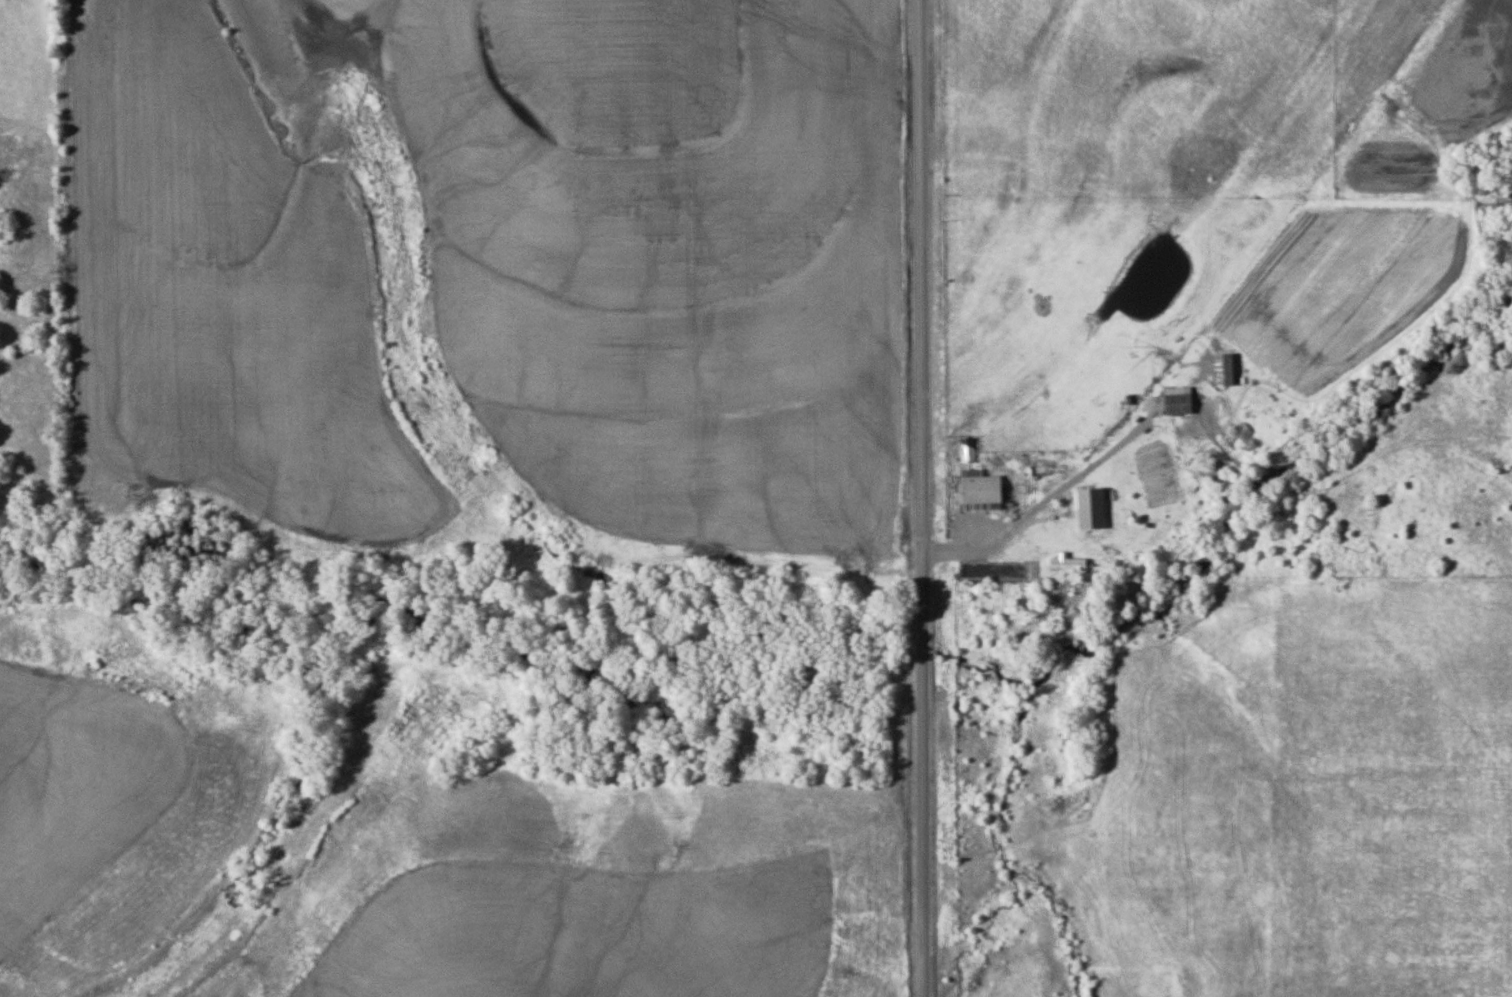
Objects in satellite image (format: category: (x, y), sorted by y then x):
road: (920, 498)

